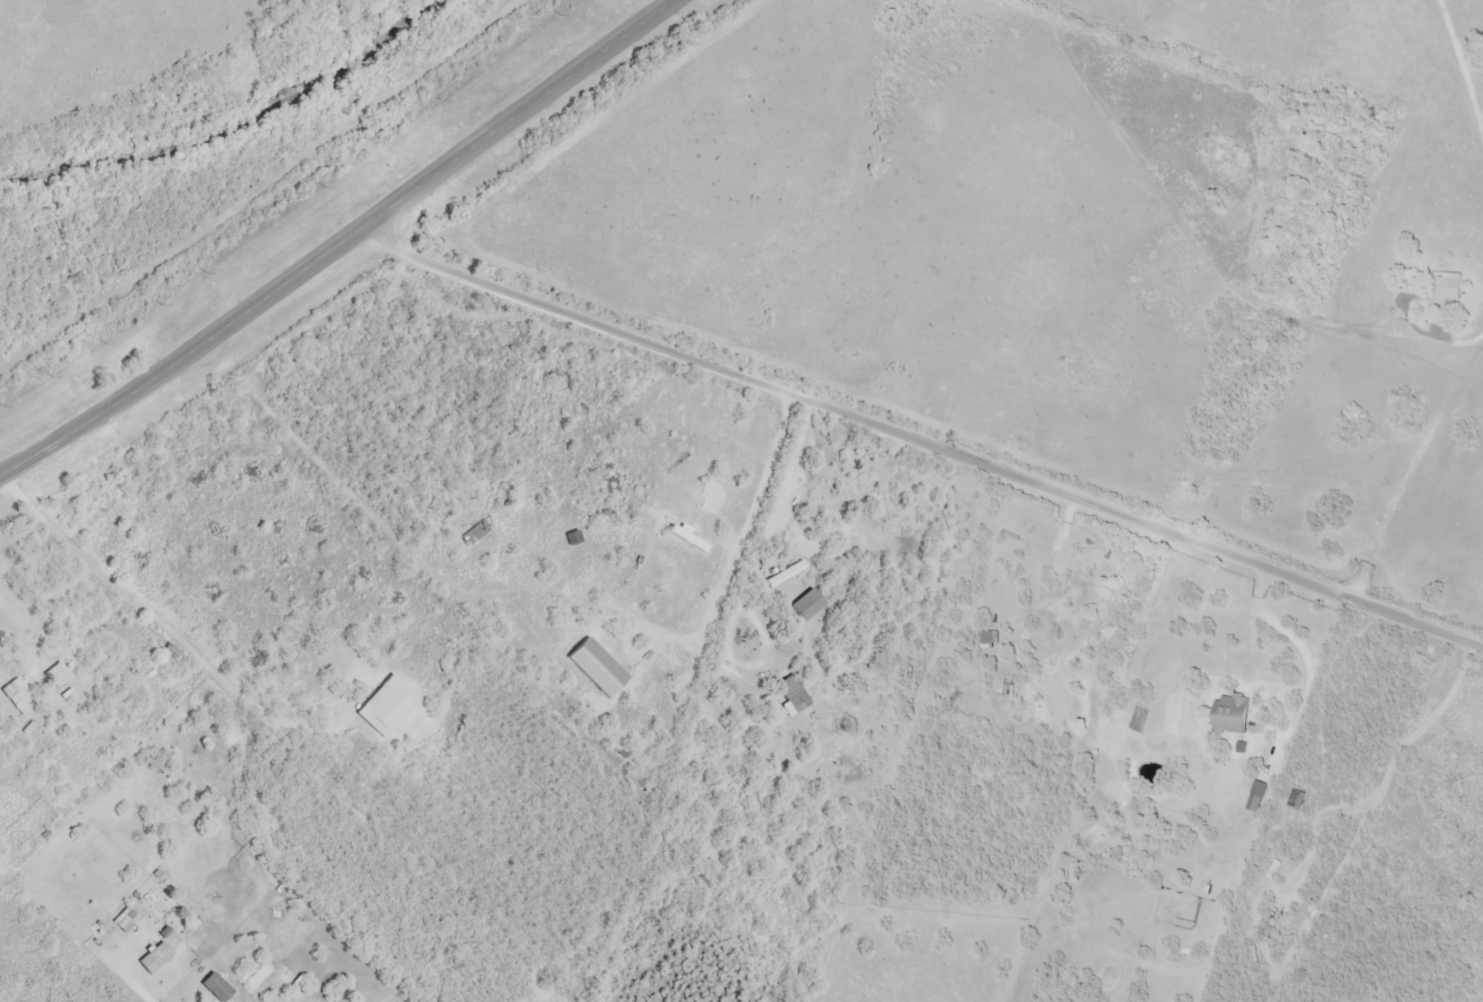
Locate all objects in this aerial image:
railway: (272, 198)
road: (341, 243)
building: (1445, 289)
road: (922, 445)
building: (473, 533)
building: (571, 538)
building: (988, 640)
building: (169, 652)
building: (595, 668)
building: (55, 676)
building: (791, 694)
building: (16, 696)
building: (386, 706)
building: (1230, 715)
building: (1256, 797)
road: (1369, 798)
building: (1295, 800)
building: (122, 925)

